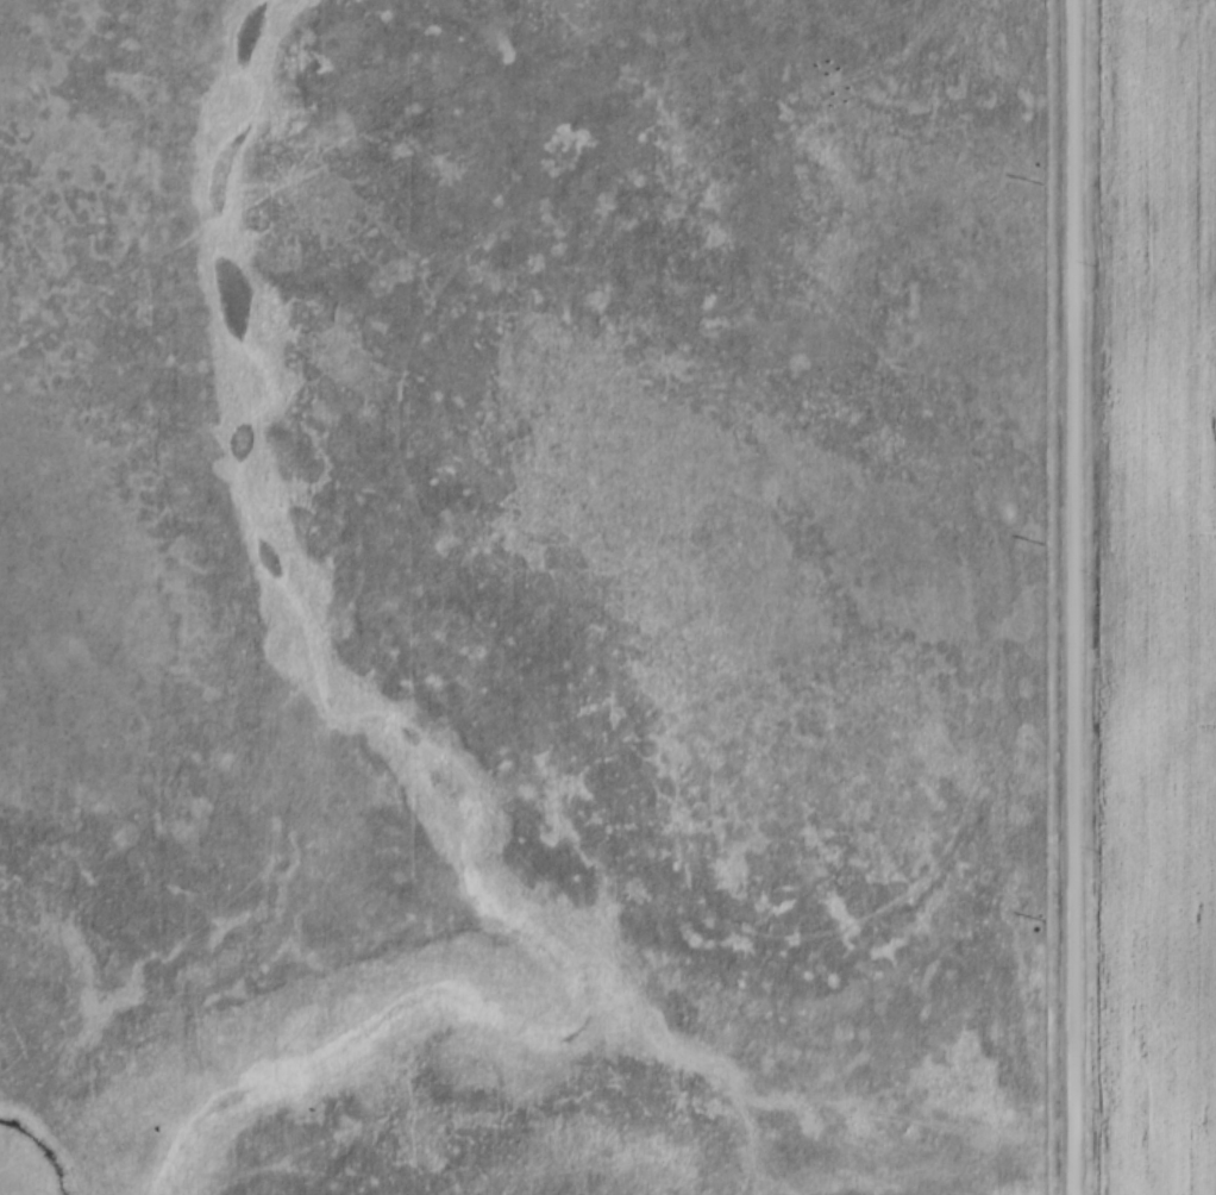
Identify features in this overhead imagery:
road: (1074, 597)

